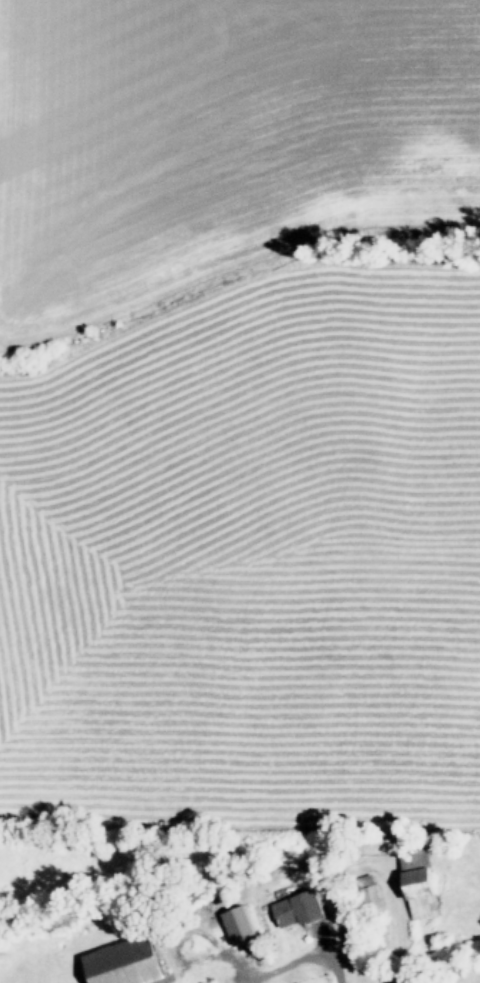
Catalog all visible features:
building: (422, 885)
building: (376, 901)
building: (300, 911)
road: (312, 955)
building: (129, 963)
building: (210, 976)

